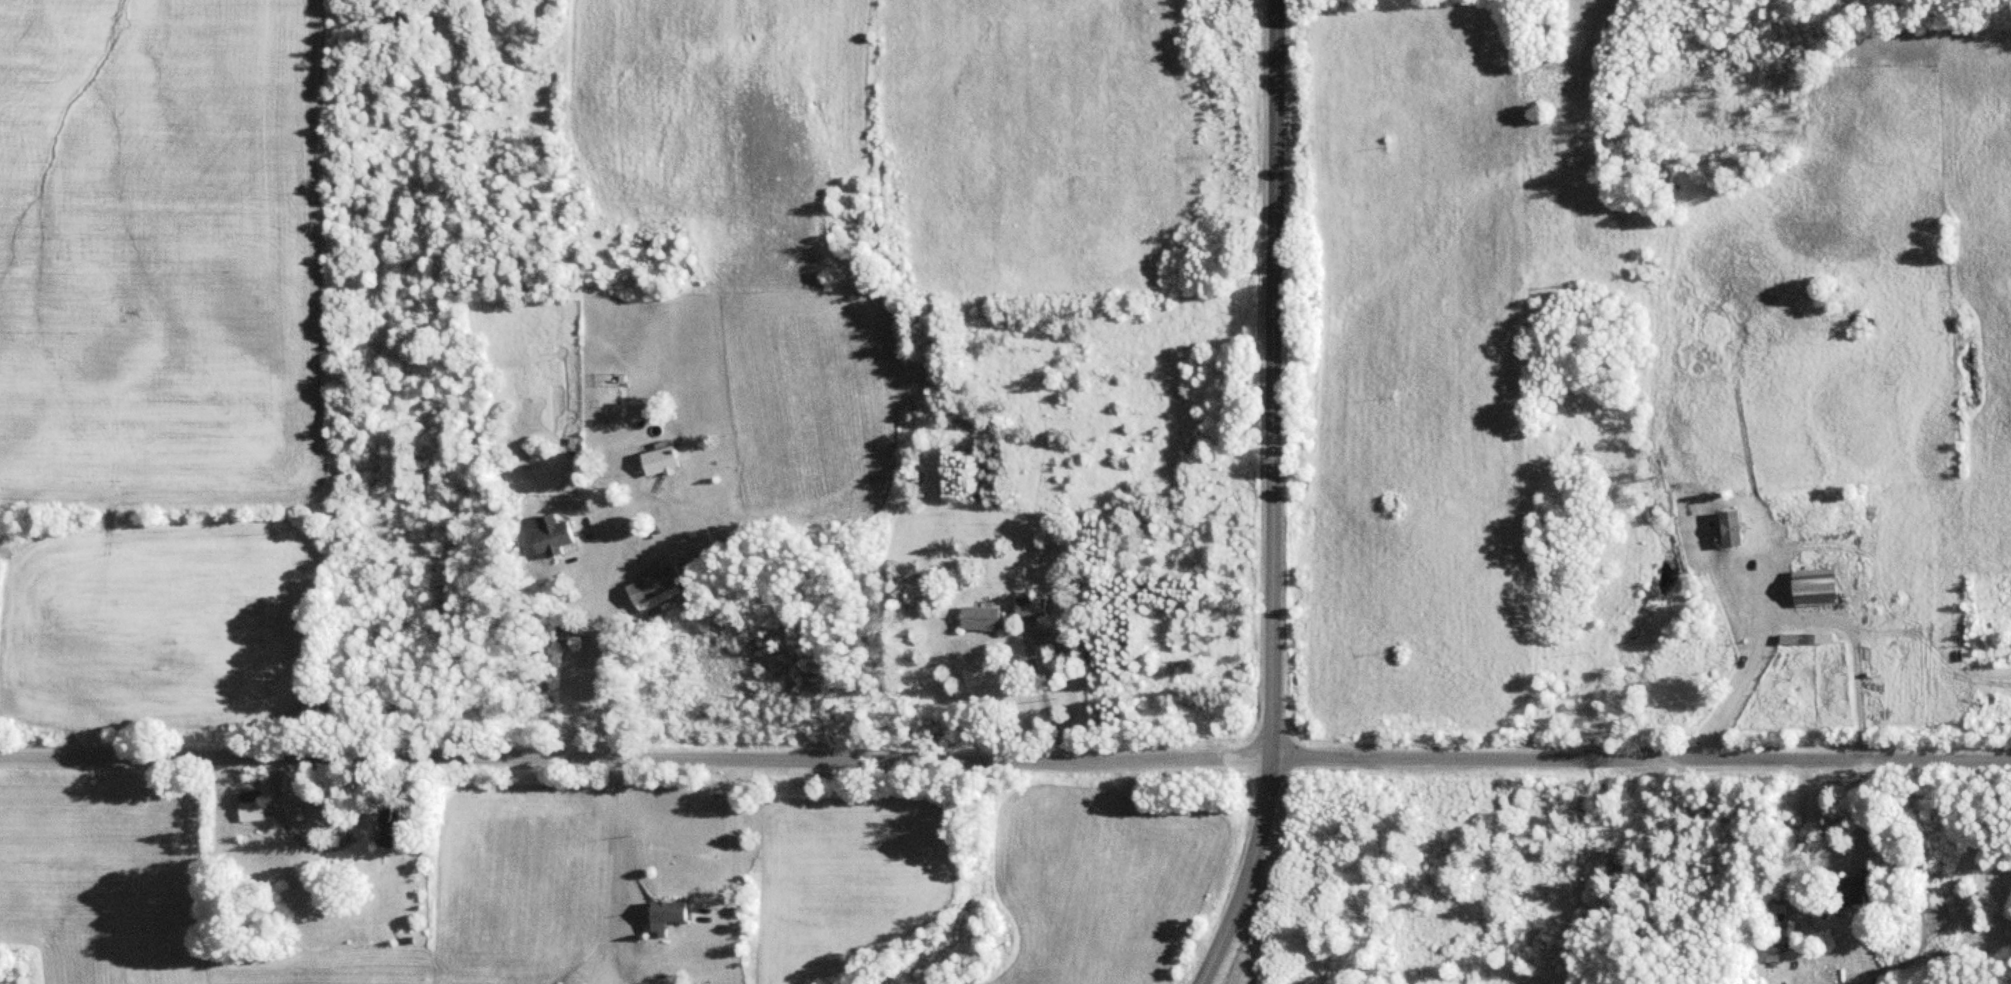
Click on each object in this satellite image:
crop: (717, 123)
crop: (165, 255)
road: (1272, 379)
building: (664, 461)
building: (1724, 529)
building: (554, 536)
building: (657, 585)
building: (1033, 606)
building: (981, 617)
road: (635, 757)
road: (1641, 759)
building: (253, 802)
building: (394, 832)
road: (735, 846)
road: (1248, 873)
building: (672, 916)

